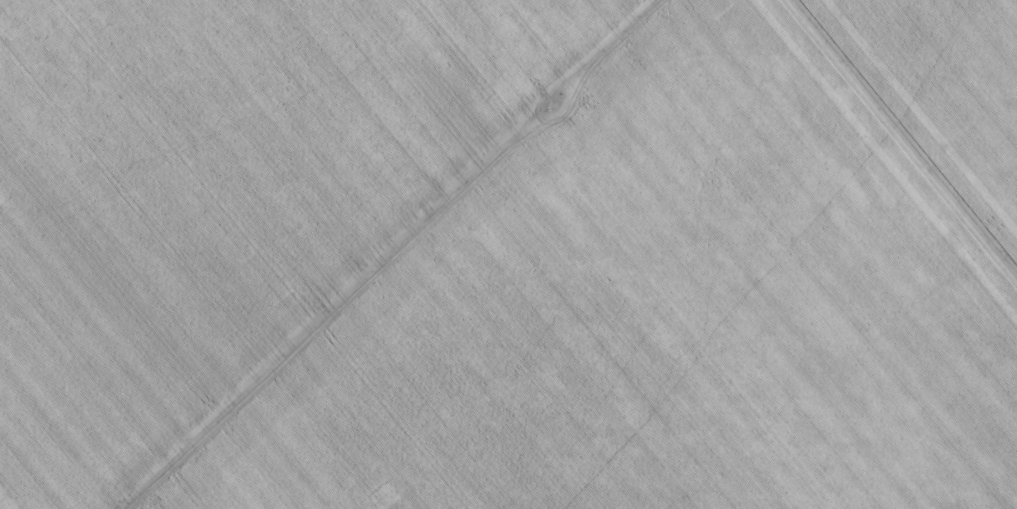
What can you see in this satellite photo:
road: (299, 285)

